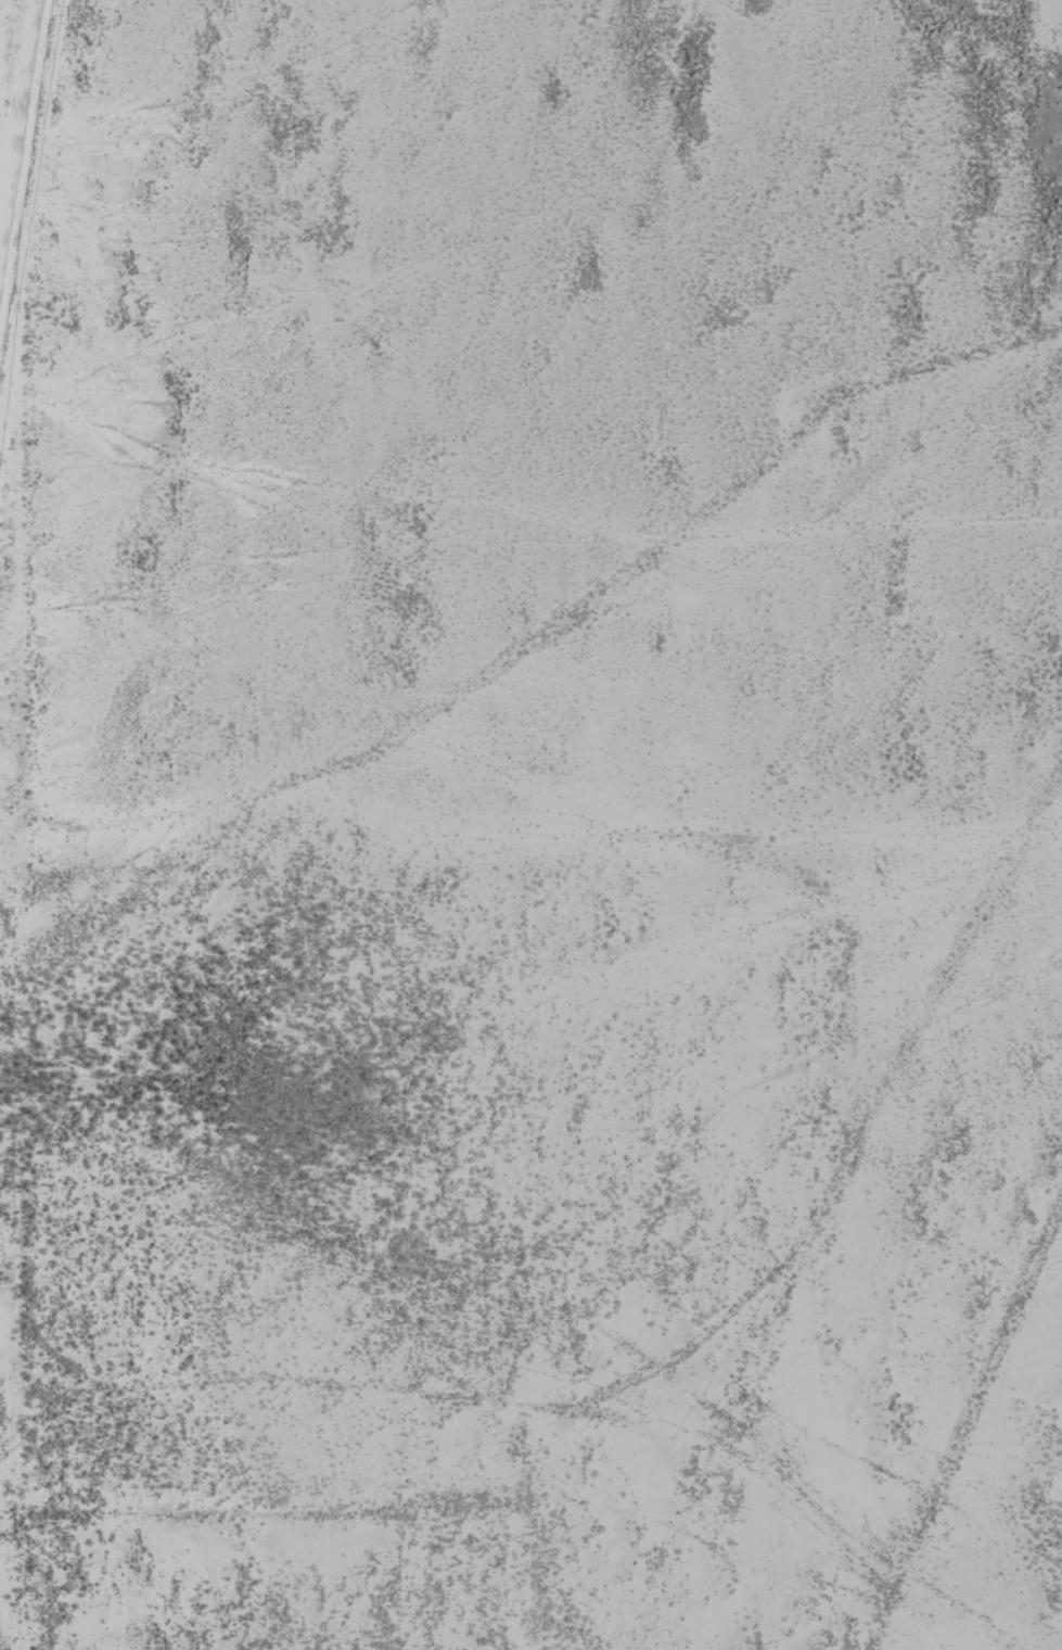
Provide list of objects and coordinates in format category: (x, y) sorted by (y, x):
road: (968, 1416)

